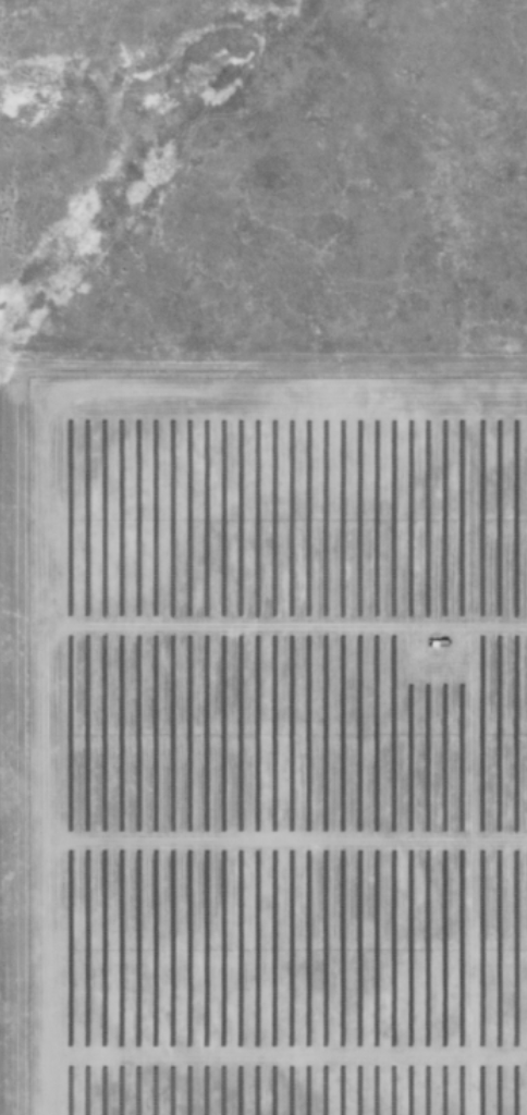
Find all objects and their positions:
solar farm: (278, 748)

